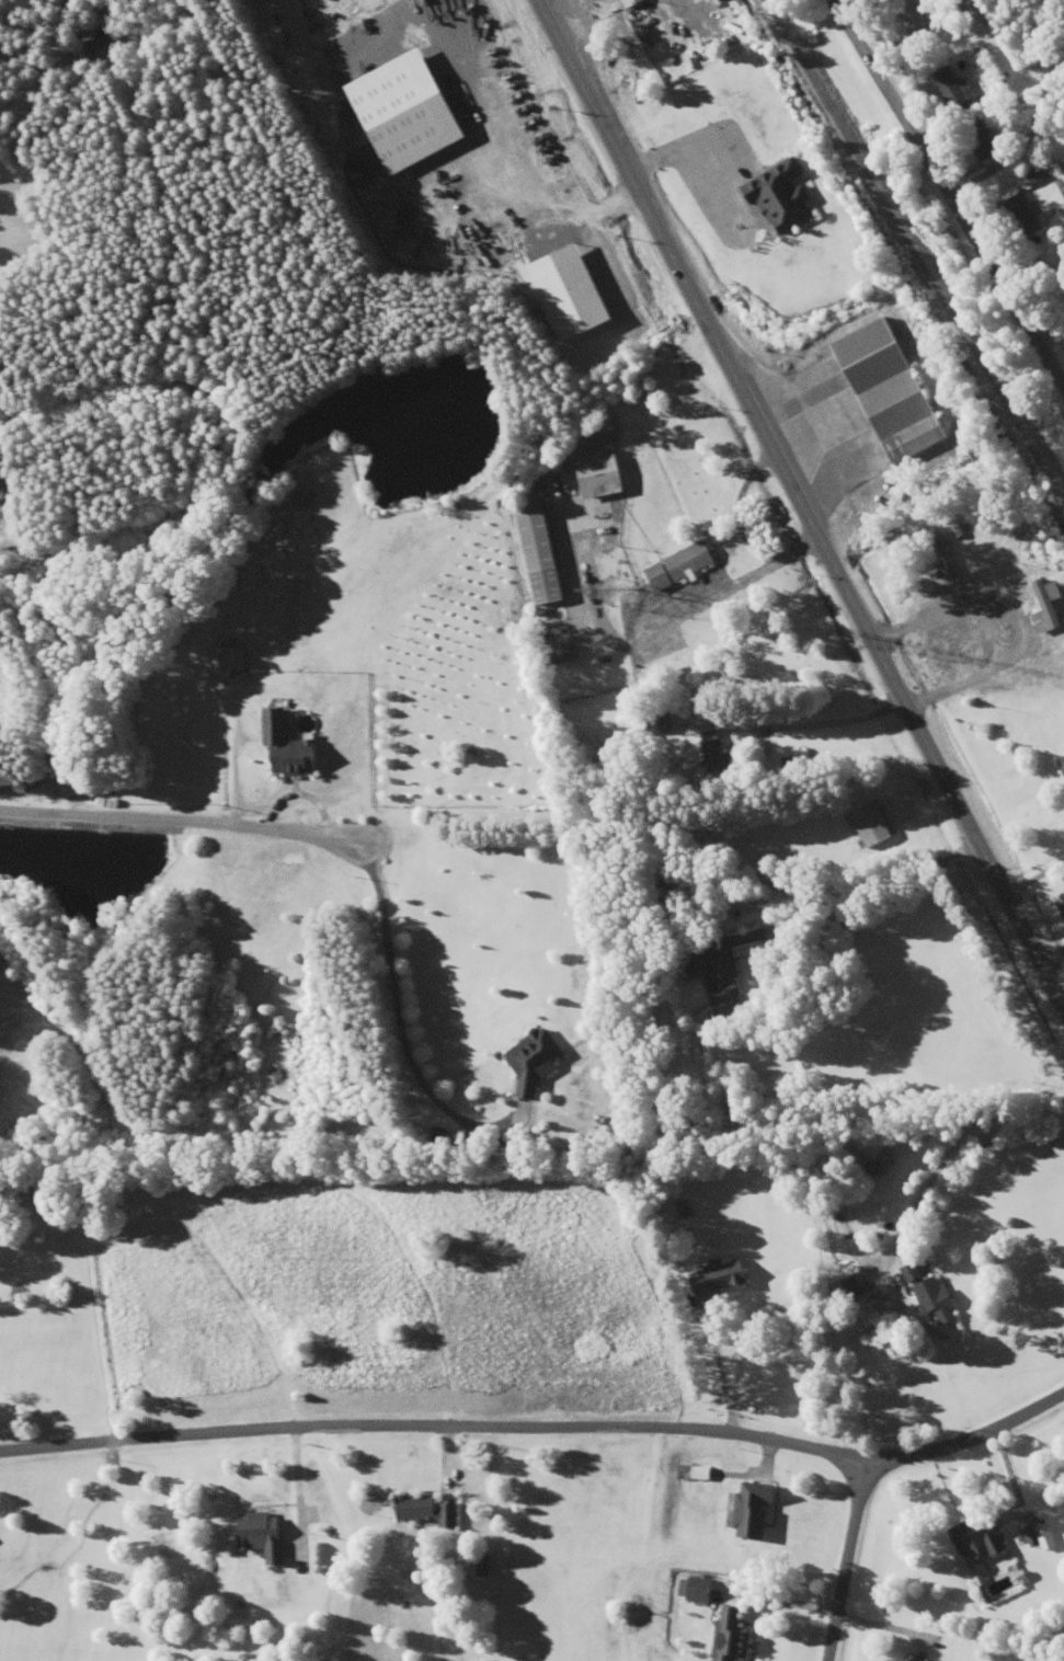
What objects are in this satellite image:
building: (637, 15)
building: (911, 18)
building: (94, 39)
building: (950, 89)
building: (979, 139)
road: (937, 187)
building: (779, 196)
building: (1019, 217)
railway: (913, 253)
building: (888, 391)
building: (600, 477)
road: (797, 509)
building: (541, 551)
building: (940, 558)
building: (679, 566)
building: (1045, 606)
building: (553, 615)
building: (557, 634)
road: (642, 634)
building: (561, 655)
building: (229, 658)
building: (709, 743)
building: (287, 746)
building: (1062, 761)
road: (182, 816)
building: (719, 971)
building: (533, 1059)
building: (442, 1137)
building: (683, 1207)
building: (720, 1278)
building: (855, 1287)
building: (933, 1295)
road: (962, 1416)
road: (430, 1433)
building: (753, 1510)
building: (426, 1511)
building: (260, 1536)
building: (1039, 1536)
building: (980, 1538)
road: (844, 1559)
building: (696, 1590)
building: (728, 1636)
building: (906, 1660)

